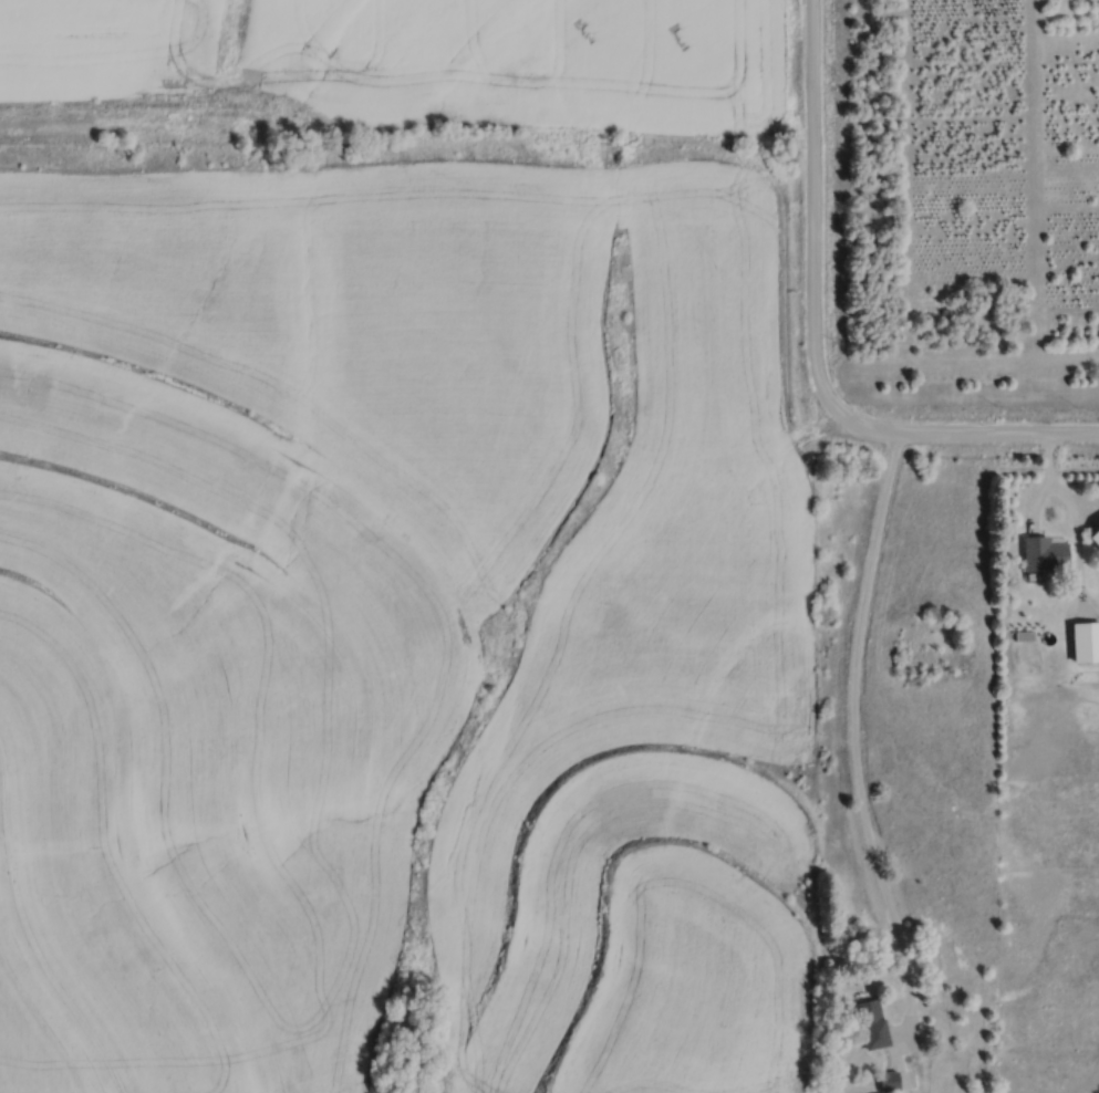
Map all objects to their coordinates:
road: (812, 345)
building: (1098, 538)
building: (1050, 554)
building: (1088, 628)
road: (853, 741)
building: (880, 1023)
building: (899, 1081)

